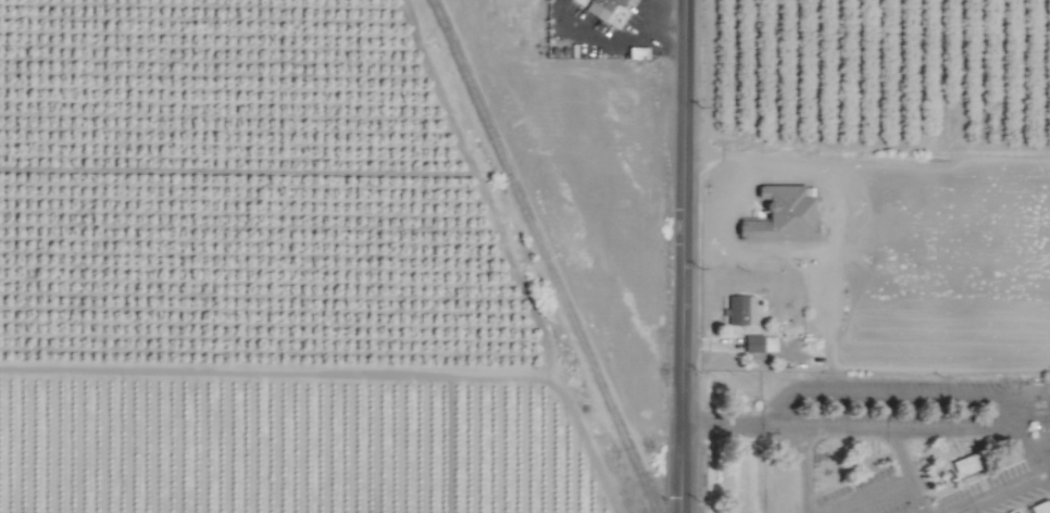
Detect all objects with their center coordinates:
building: (605, 10)
road: (613, 43)
building: (784, 217)
crop: (525, 256)
railway: (543, 256)
road: (688, 256)
building: (742, 311)
building: (762, 343)
road: (746, 428)
road: (974, 436)
building: (968, 464)
road: (805, 472)
road: (908, 473)
building: (1038, 511)

